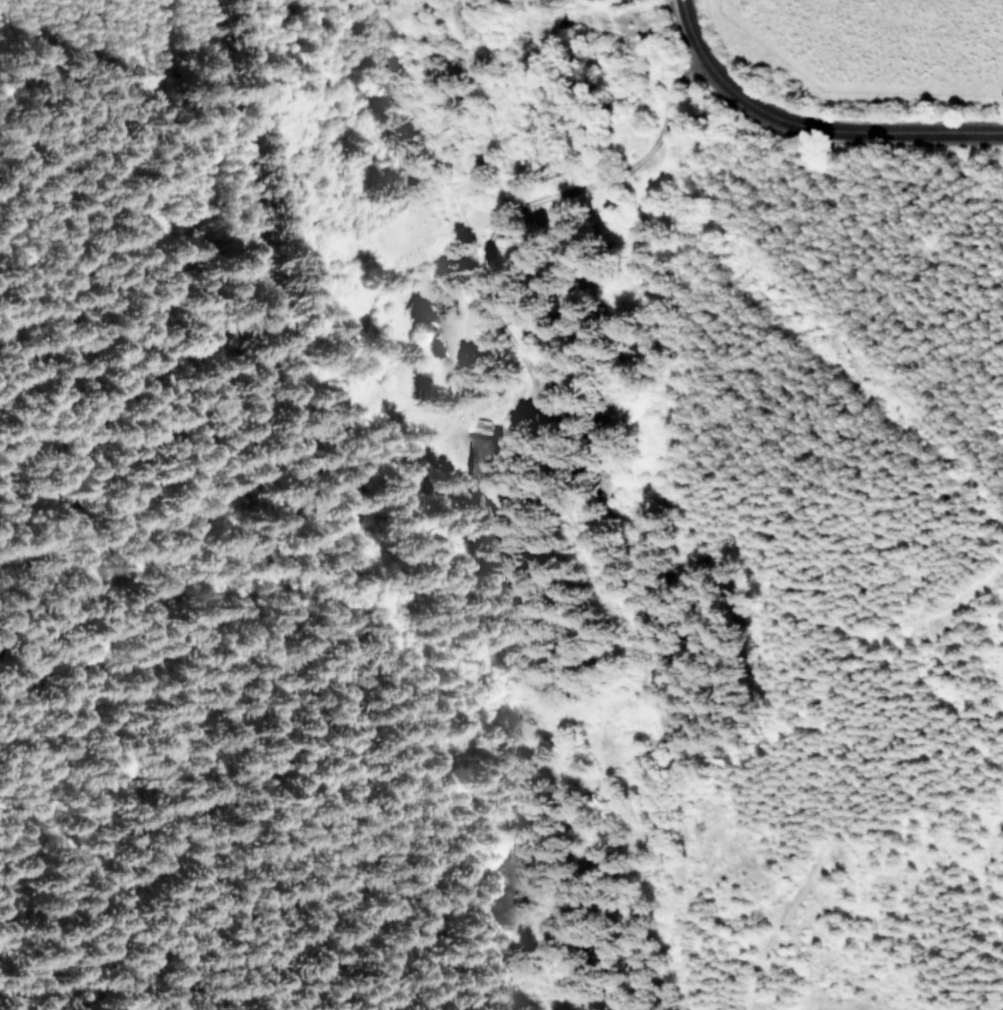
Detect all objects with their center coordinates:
road: (810, 121)
road: (540, 198)
building: (481, 455)

